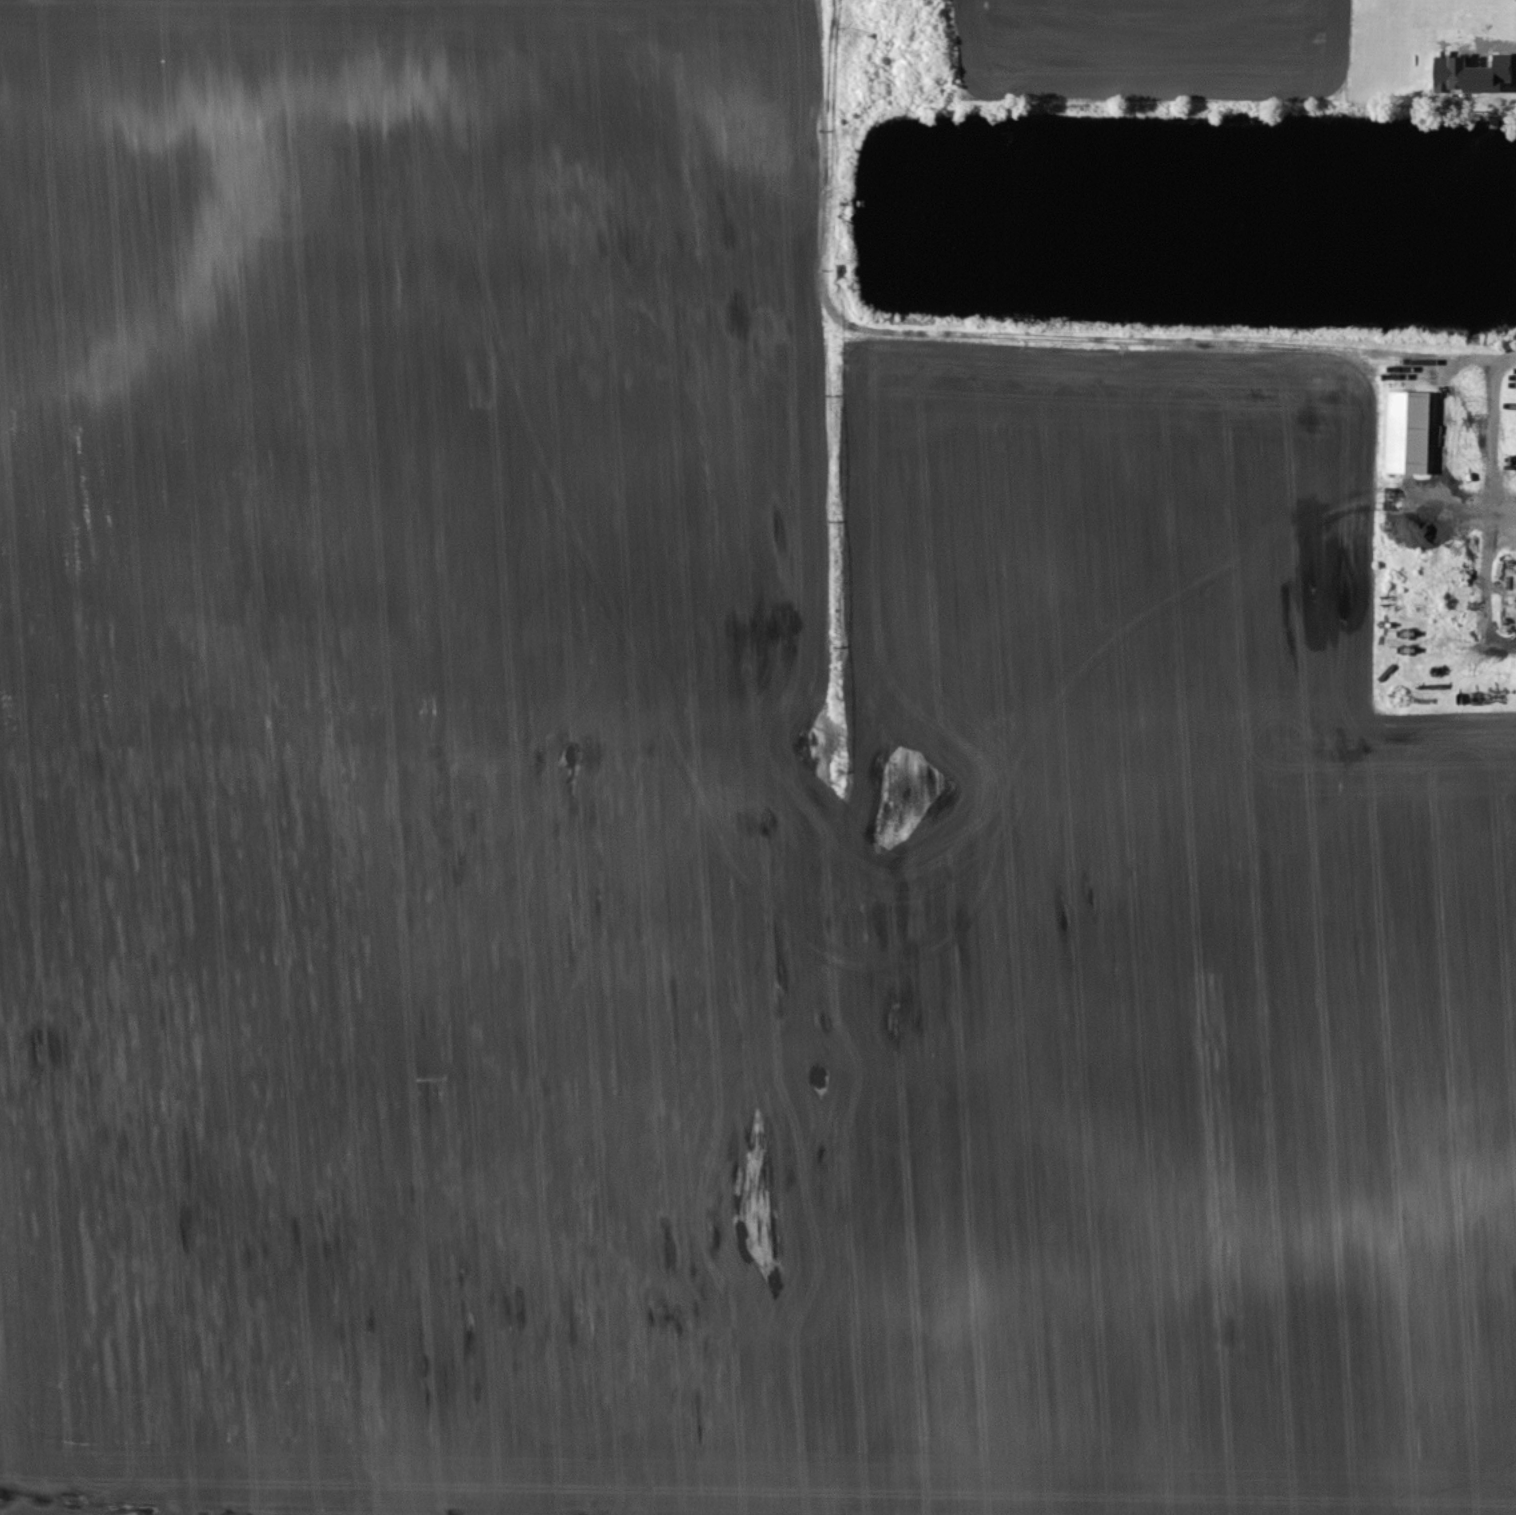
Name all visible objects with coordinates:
road: (1481, 42)
building: (1476, 77)
road: (1440, 432)
building: (1417, 435)

